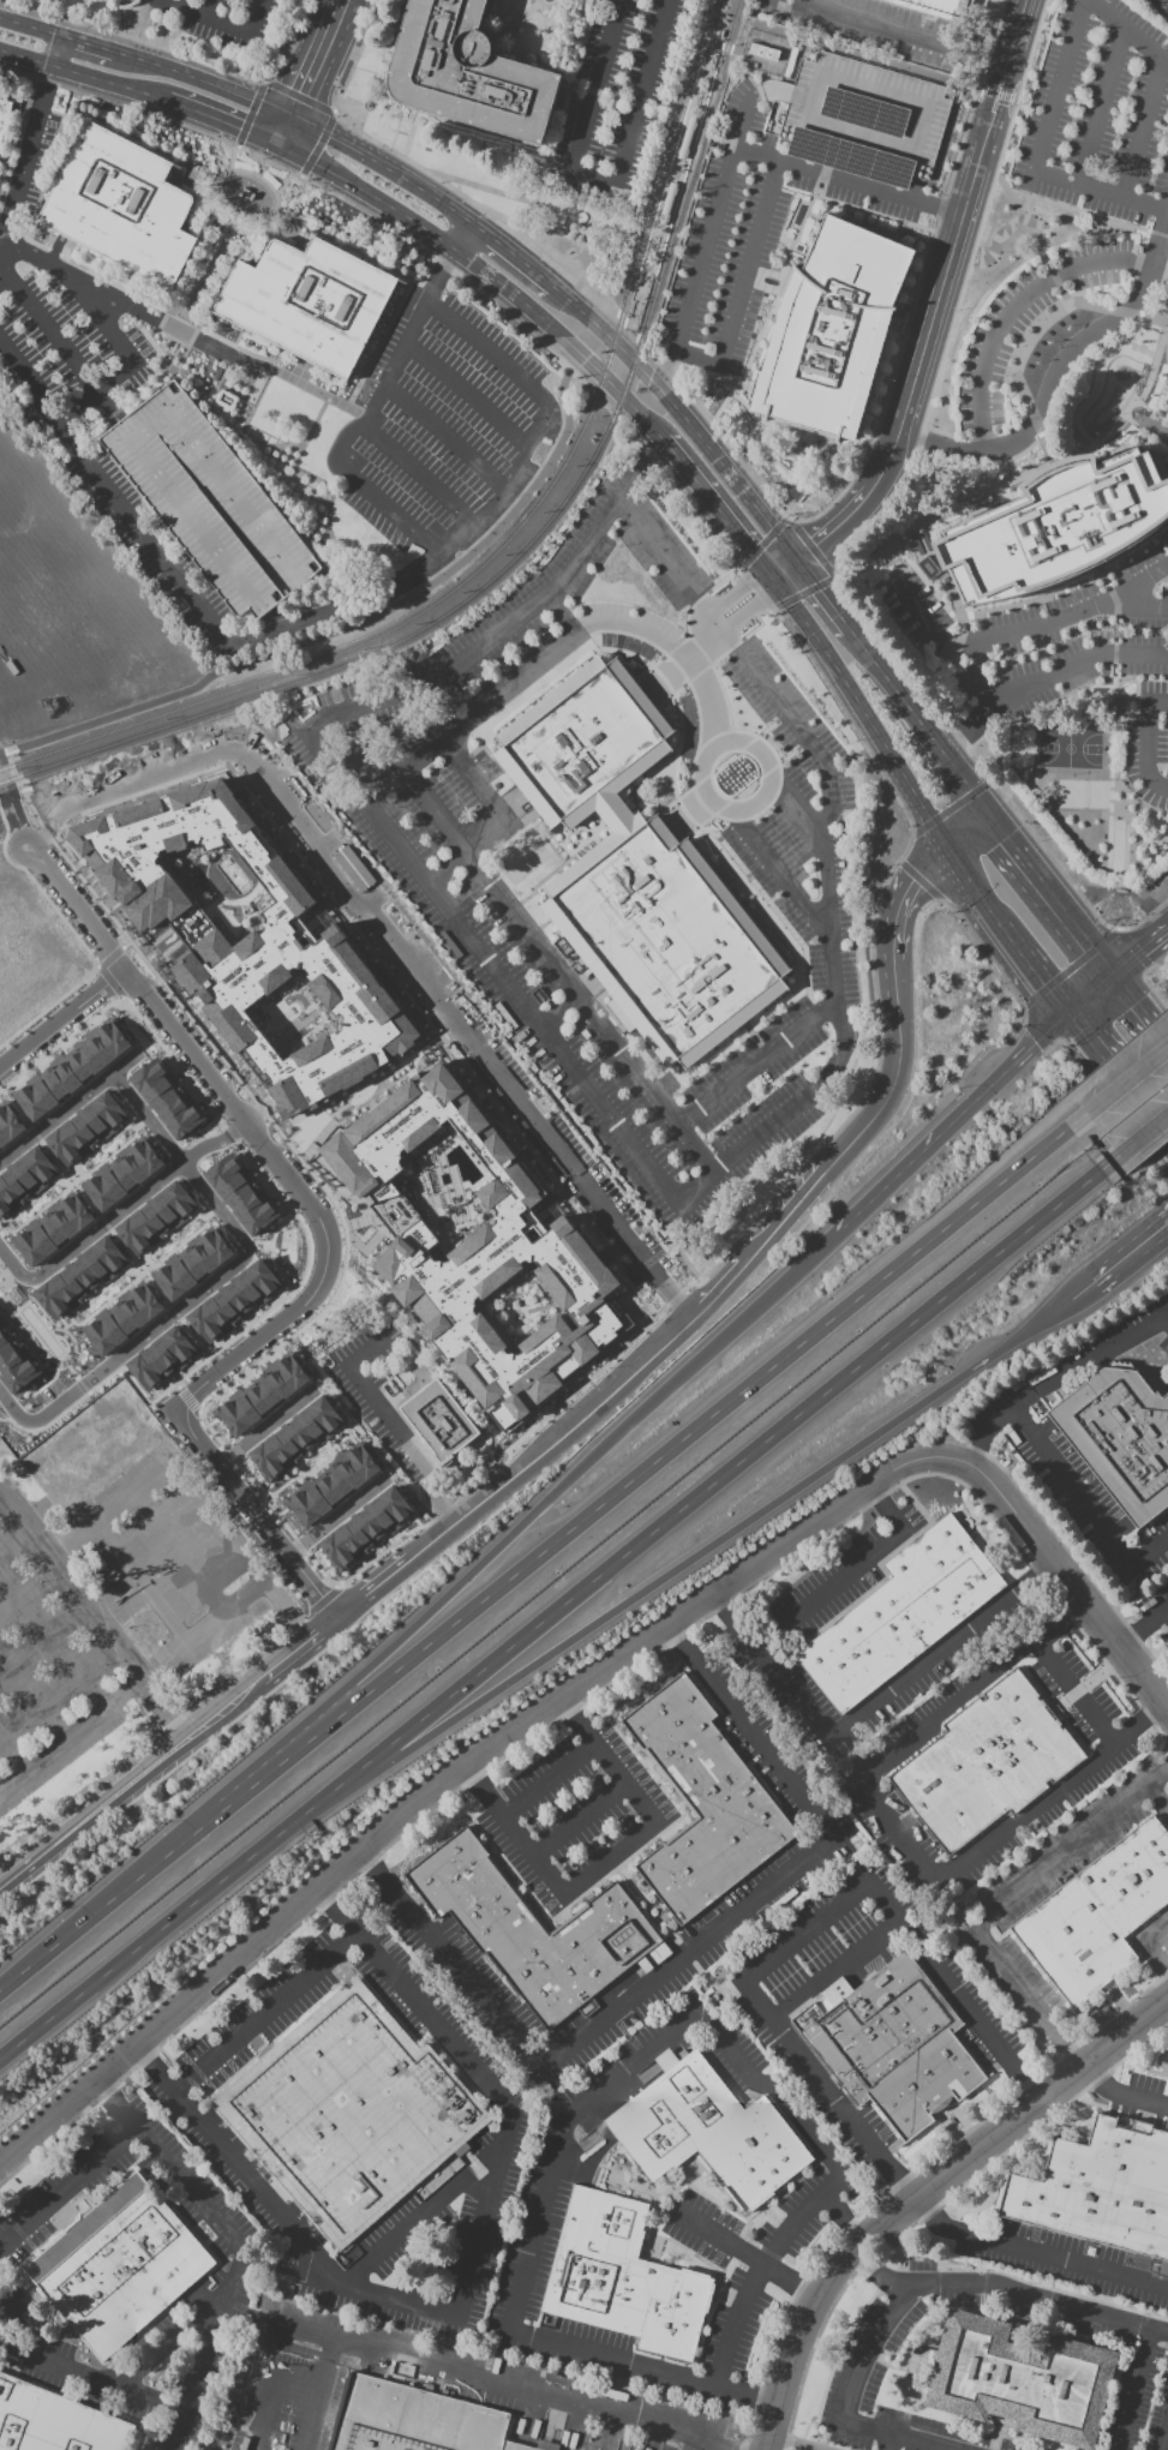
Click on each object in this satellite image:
road: (211, 8)
building: (939, 8)
road: (222, 22)
road: (902, 31)
road: (1130, 31)
road: (154, 32)
road: (26, 43)
road: (841, 48)
road: (82, 50)
road: (319, 58)
road: (713, 59)
building: (467, 73)
railway: (718, 73)
road: (103, 80)
road: (202, 84)
road: (299, 97)
parking lot: (621, 97)
road: (631, 104)
road: (1101, 107)
road: (250, 114)
road: (969, 114)
traffic signals: (295, 115)
building: (857, 119)
parking lot: (857, 119)
building: (5, 120)
road: (220, 122)
road: (1143, 130)
road: (287, 131)
road: (411, 134)
building: (687, 138)
traffic signals: (278, 146)
road: (318, 146)
road: (658, 154)
road: (1031, 155)
road: (26, 158)
road: (385, 172)
road: (849, 180)
road: (601, 181)
road: (496, 191)
road: (366, 198)
building: (667, 203)
building: (124, 209)
road: (570, 215)
road: (593, 224)
road: (543, 244)
road: (705, 244)
road: (952, 246)
road: (514, 260)
fountain: (769, 282)
road: (741, 284)
road: (960, 295)
road: (122, 302)
road: (642, 304)
building: (312, 305)
road: (1013, 307)
road: (574, 309)
building: (831, 331)
road: (563, 339)
road: (903, 341)
road: (60, 346)
building: (1166, 346)
parking lot: (73, 352)
road: (491, 354)
road: (125, 355)
road: (1058, 369)
road: (743, 373)
road: (469, 394)
road: (724, 403)
traffic signals: (670, 406)
road: (881, 417)
parking lot: (437, 421)
road: (367, 423)
road: (1037, 425)
road: (444, 435)
traffic signals: (655, 435)
road: (697, 439)
road: (420, 473)
building: (212, 504)
parking lot: (212, 504)
road: (714, 508)
building: (1056, 526)
road: (833, 527)
railway: (516, 534)
railway: (532, 544)
road: (663, 553)
traffic signals: (791, 559)
road: (457, 561)
road: (779, 568)
traffic signals: (768, 577)
road: (736, 589)
road: (935, 595)
road: (821, 597)
road: (753, 607)
road: (1140, 609)
crop: (77, 611)
road: (715, 621)
road: (274, 622)
road: (706, 622)
road: (1043, 622)
road: (933, 627)
road: (713, 631)
road: (658, 634)
road: (246, 641)
road: (693, 642)
road: (1047, 681)
road: (897, 691)
road: (861, 711)
road: (131, 718)
road: (466, 718)
road: (1146, 738)
park: (1071, 745)
road: (968, 783)
road: (990, 783)
road: (0, 784)
road: (489, 797)
road: (729, 809)
road: (795, 810)
road: (12, 814)
traffic signals: (993, 815)
road: (971, 832)
traffic signals: (950, 849)
building: (168, 850)
building: (352, 868)
road: (964, 870)
building: (639, 871)
road: (779, 874)
road: (1041, 876)
road: (904, 895)
road: (989, 909)
road: (384, 933)
road: (1140, 947)
road: (1088, 951)
road: (1100, 953)
road: (1035, 968)
traffic signals: (1113, 969)
road: (558, 970)
road: (1090, 989)
road: (897, 998)
road: (1140, 1004)
road: (557, 1010)
traffic signals: (1068, 1011)
road: (61, 1017)
building: (236, 1026)
road: (1080, 1026)
road: (185, 1048)
road: (558, 1052)
road: (756, 1062)
road: (1007, 1067)
building: (74, 1070)
road: (1130, 1091)
road: (1118, 1094)
building: (166, 1098)
road: (55, 1114)
building: (8, 1125)
building: (85, 1128)
road: (1136, 1146)
road: (180, 1161)
building: (124, 1175)
building: (24, 1178)
road: (885, 1186)
building: (240, 1194)
road: (133, 1196)
building: (154, 1218)
building: (55, 1229)
road: (684, 1242)
building: (475, 1246)
road: (1139, 1248)
road: (12, 1266)
building: (79, 1276)
road: (1092, 1286)
building: (233, 1301)
road: (1066, 1306)
road: (170, 1314)
road: (679, 1316)
road: (1163, 1317)
building: (124, 1319)
road: (257, 1340)
building: (160, 1358)
building: (13, 1364)
road: (1058, 1377)
building: (263, 1395)
road: (49, 1414)
building: (439, 1420)
road: (389, 1424)
road: (260, 1427)
building: (294, 1437)
building: (1120, 1439)
road: (670, 1451)
road: (172, 1470)
road: (719, 1479)
road: (544, 1504)
road: (1085, 1504)
road: (252, 1515)
road: (330, 1518)
building: (365, 1528)
road: (180, 1553)
road: (701, 1553)
road: (849, 1571)
road: (1071, 1581)
road: (367, 1587)
road: (120, 1604)
road: (1167, 1606)
road: (1167, 1609)
road: (94, 1613)
building: (899, 1615)
road: (169, 1625)
road: (1142, 1625)
road: (319, 1627)
road: (52, 1637)
road: (282, 1658)
road: (1076, 1691)
road: (32, 1693)
road: (91, 1714)
road: (844, 1735)
road: (12, 1750)
building: (987, 1762)
road: (457, 1763)
road: (146, 1767)
road: (550, 1780)
road: (1157, 1799)
building: (702, 1802)
road: (582, 1820)
road: (897, 1831)
road: (607, 1859)
road: (18, 1868)
road: (136, 1876)
road: (995, 1906)
building: (1097, 1915)
road: (169, 1925)
building: (535, 1930)
road: (805, 1930)
road: (1145, 1943)
road: (685, 1955)
road: (834, 1969)
road: (260, 2009)
building: (892, 2047)
road: (616, 2074)
road: (1120, 2095)
building: (351, 2115)
building: (707, 2132)
road: (67, 2185)
building: (1100, 2190)
road: (921, 2191)
road: (843, 2215)
road: (419, 2217)
road: (236, 2244)
road: (1032, 2252)
road: (745, 2256)
building: (120, 2270)
building: (622, 2278)
road: (465, 2284)
road: (911, 2299)
road: (426, 2362)
road: (91, 2372)
building: (1020, 2380)
road: (1133, 2389)
road: (318, 2394)
building: (415, 2420)
building: (55, 2422)
road: (1164, 2437)
road: (884, 2440)
road: (694, 2442)
road: (726, 2442)
road: (789, 2449)

